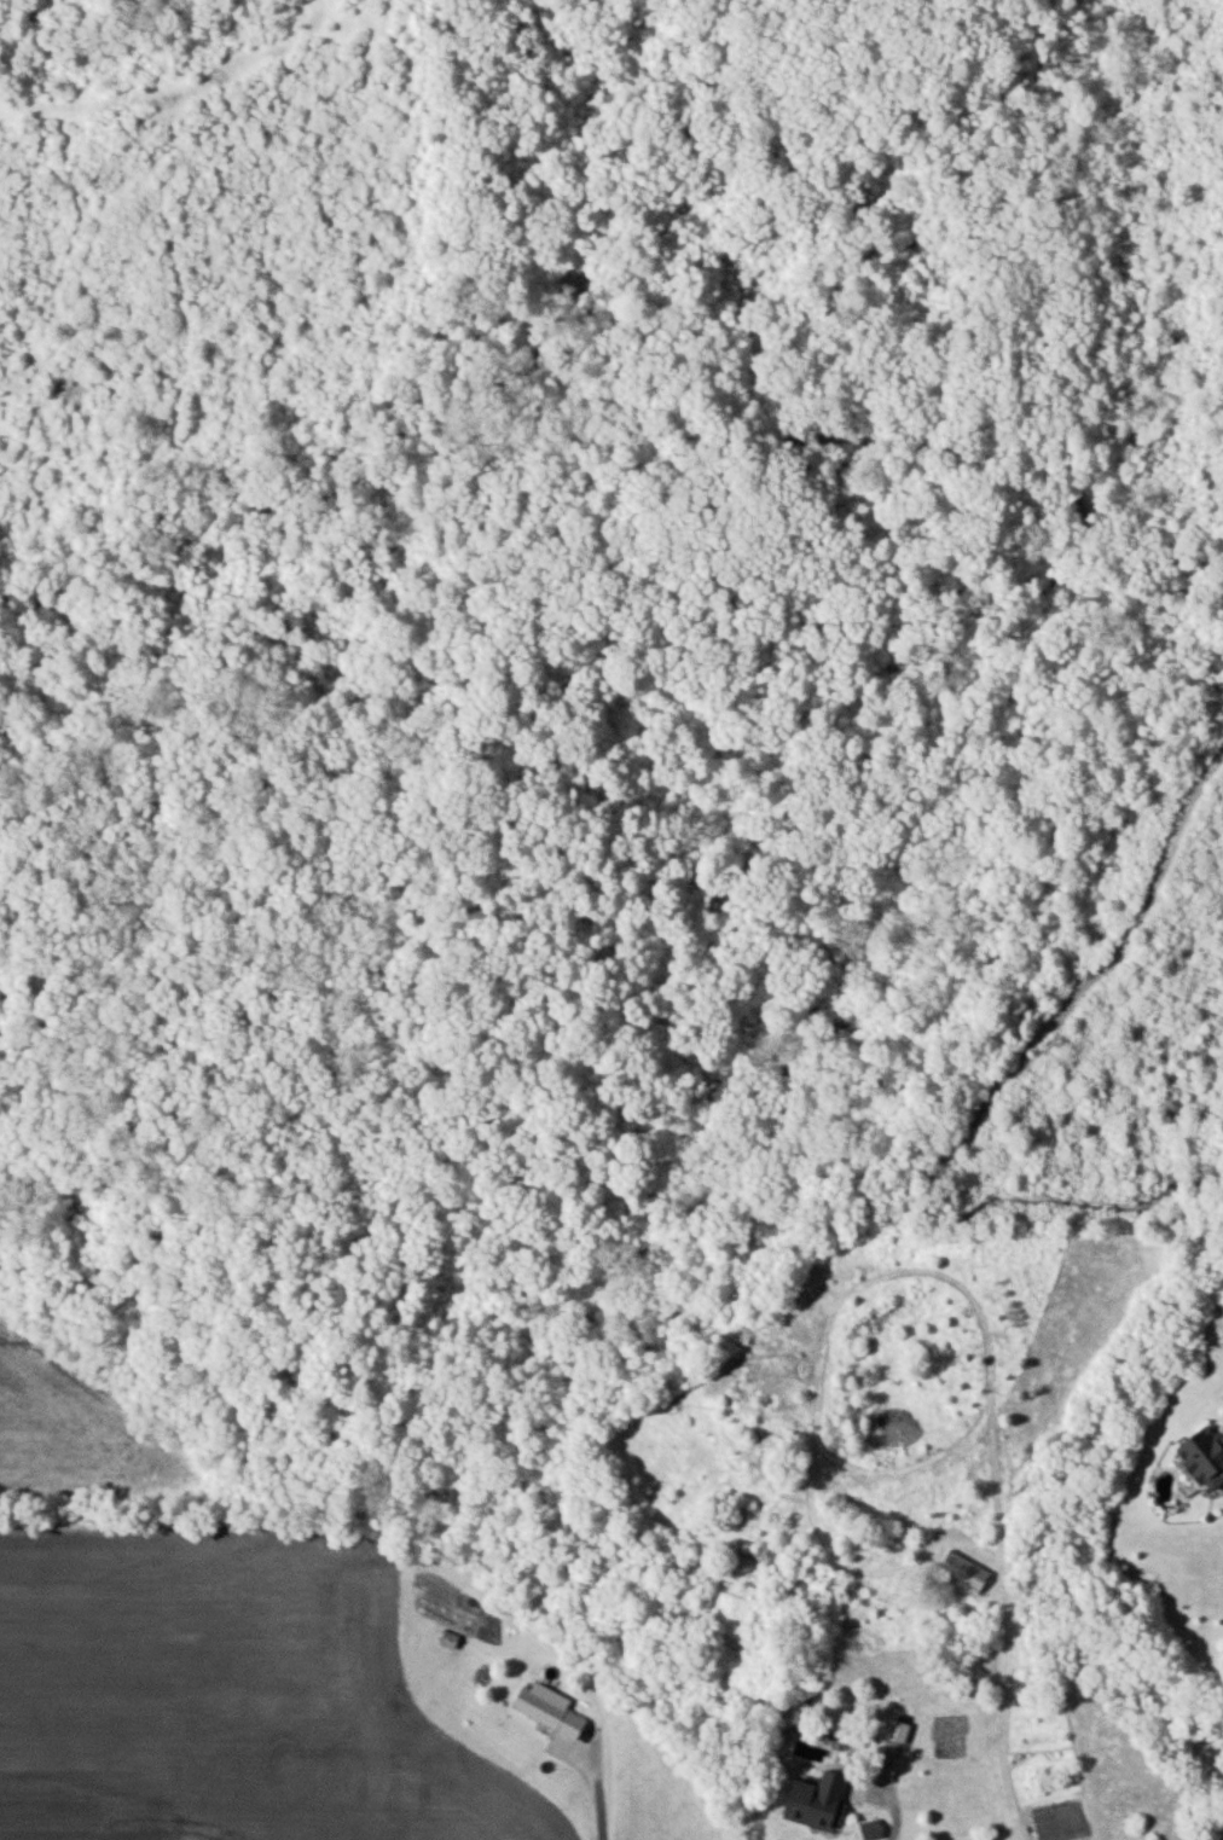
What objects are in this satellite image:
building: (1202, 1456)
building: (963, 1569)
building: (549, 1716)
building: (895, 1730)
road: (597, 1797)
building: (813, 1799)
road: (894, 1811)
building: (869, 1829)

